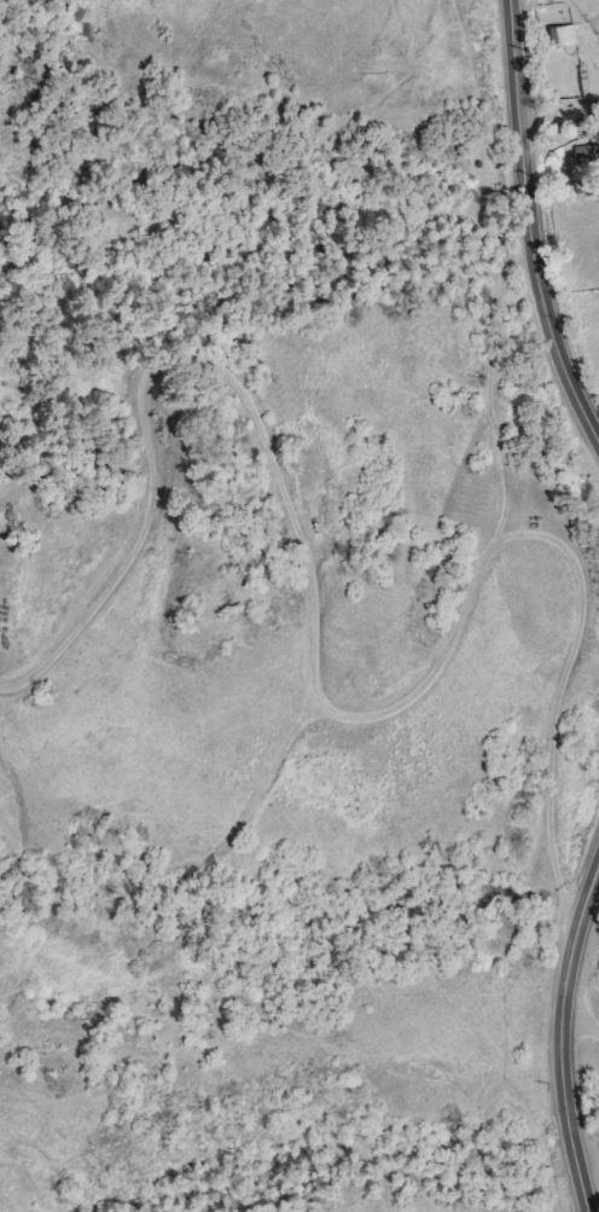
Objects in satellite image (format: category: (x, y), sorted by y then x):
building: (559, 34)
road: (563, 137)
building: (586, 147)
road: (534, 222)
road: (304, 661)
road: (585, 1023)
road: (569, 1046)

